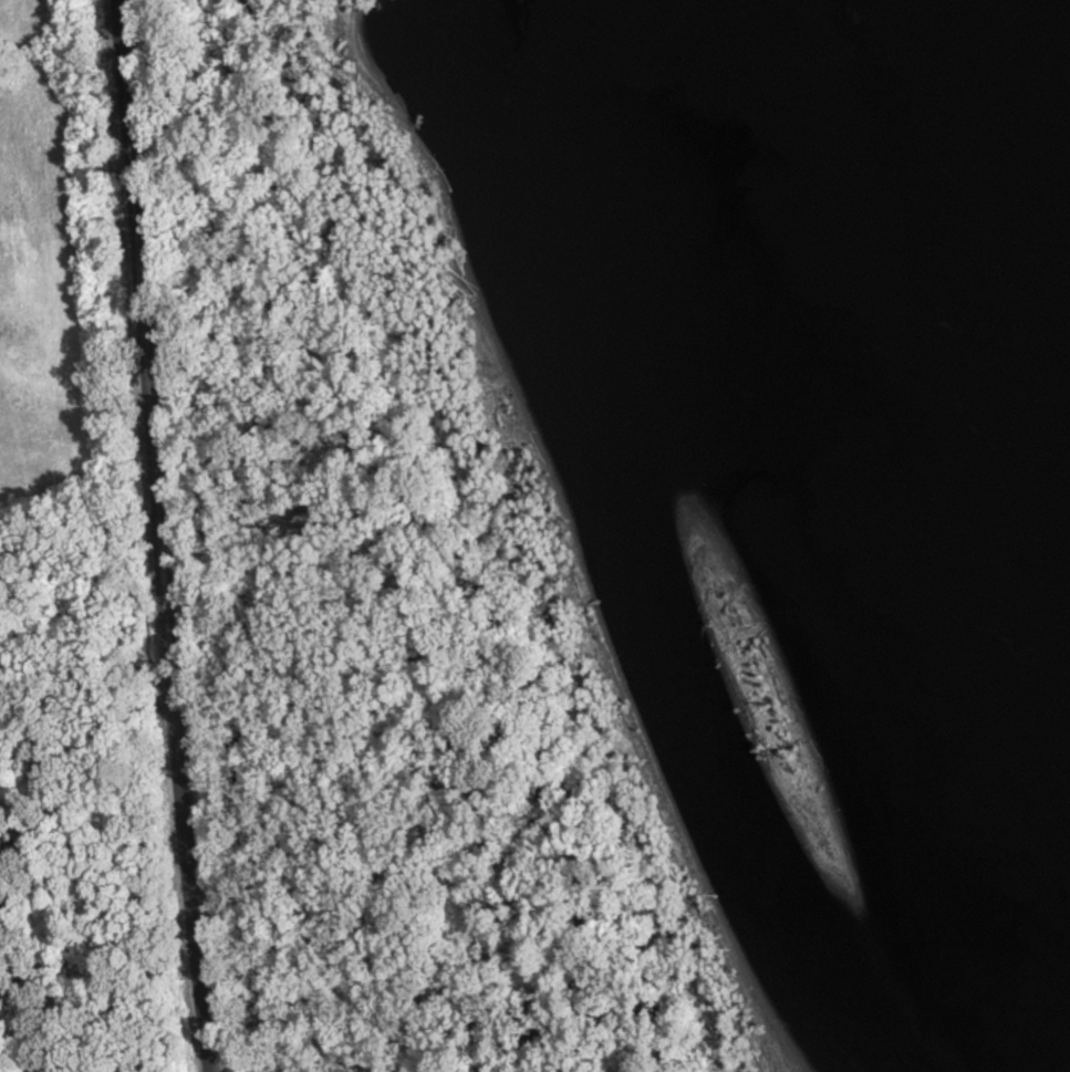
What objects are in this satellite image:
railway: (165, 535)

